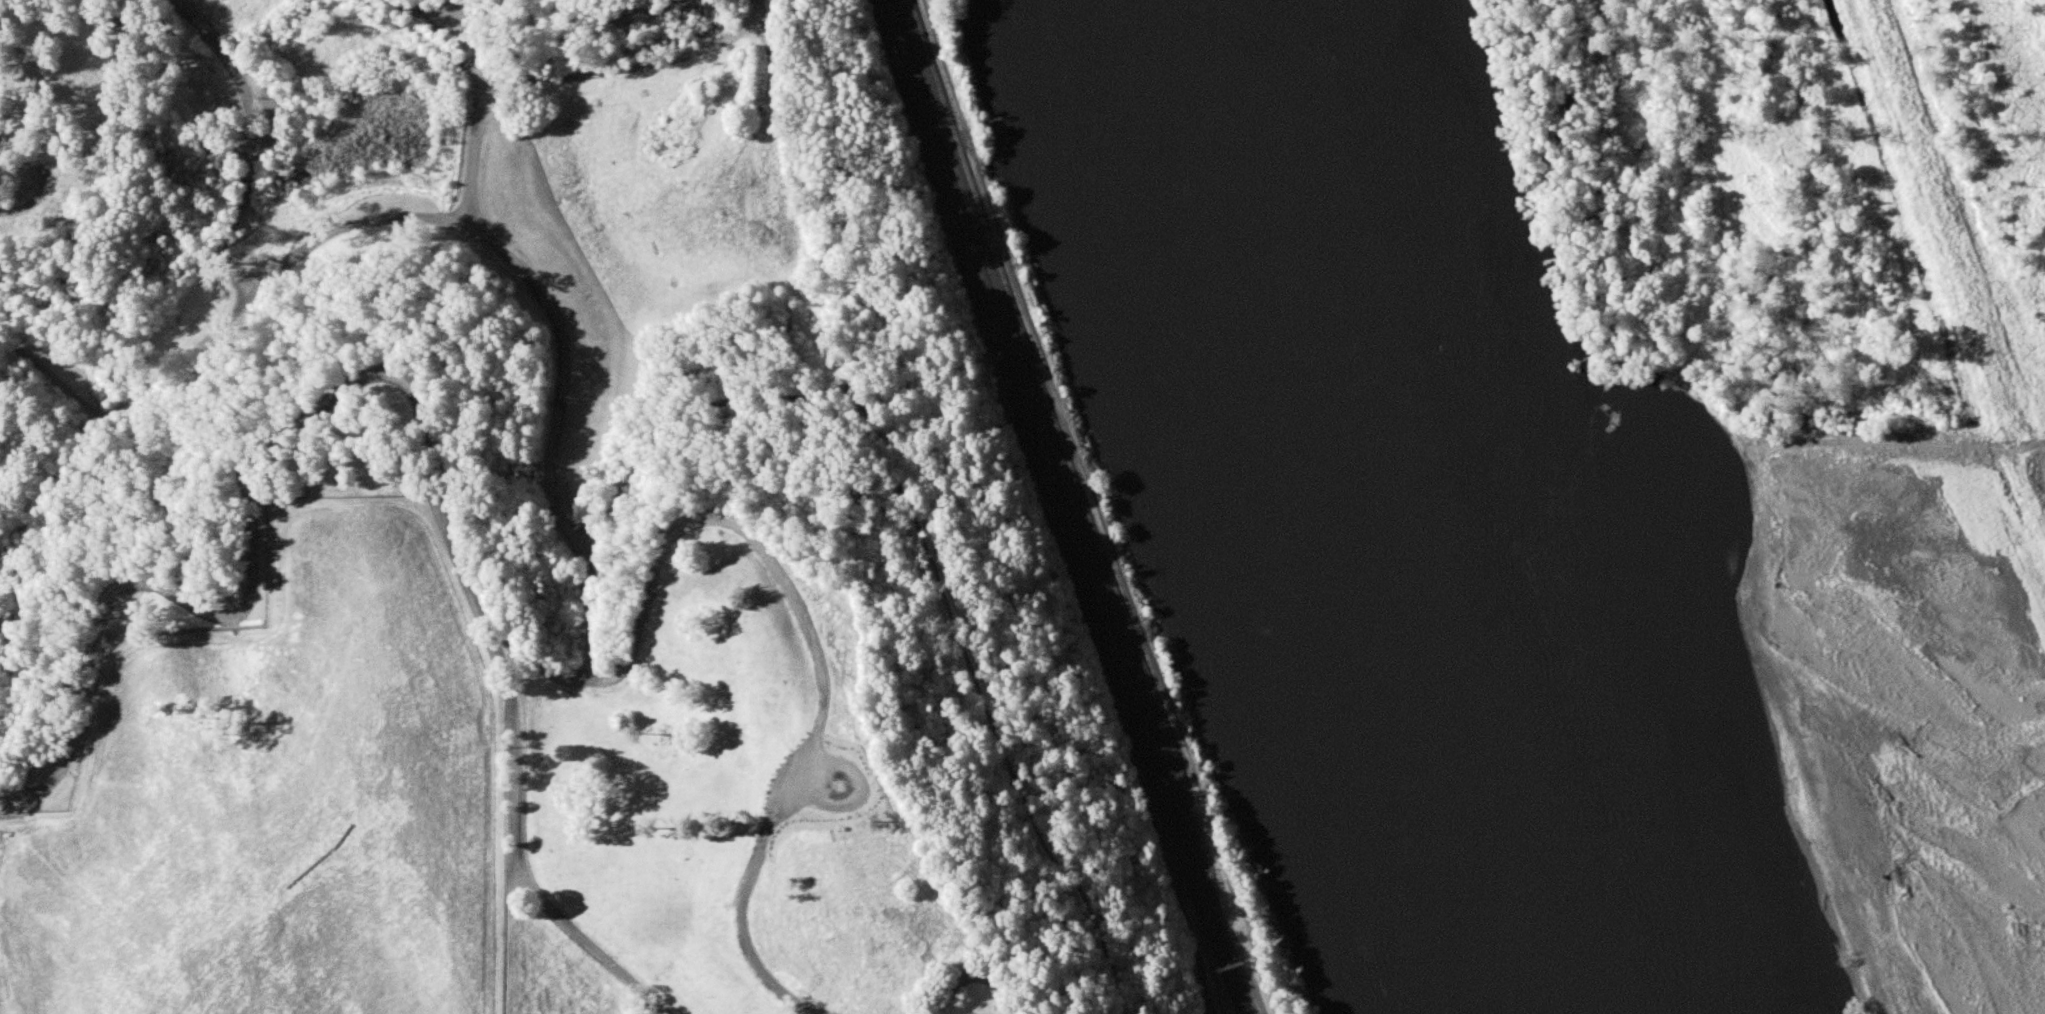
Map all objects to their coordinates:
road: (475, 44)
railway: (896, 51)
road: (638, 69)
road: (477, 158)
road: (47, 179)
road: (231, 284)
road: (257, 290)
road: (384, 298)
road: (126, 409)
railway: (1028, 435)
railway: (1058, 436)
park: (589, 473)
railway: (1063, 482)
river: (1422, 505)
railway: (1064, 508)
road: (13, 511)
road: (60, 511)
parking lot: (584, 542)
road: (893, 553)
road: (930, 570)
road: (16, 622)
road: (813, 653)
road: (581, 682)
building: (769, 711)
road: (785, 737)
parking lot: (816, 787)
road: (528, 853)
railway: (1192, 890)
railway: (1183, 891)
road: (973, 978)

